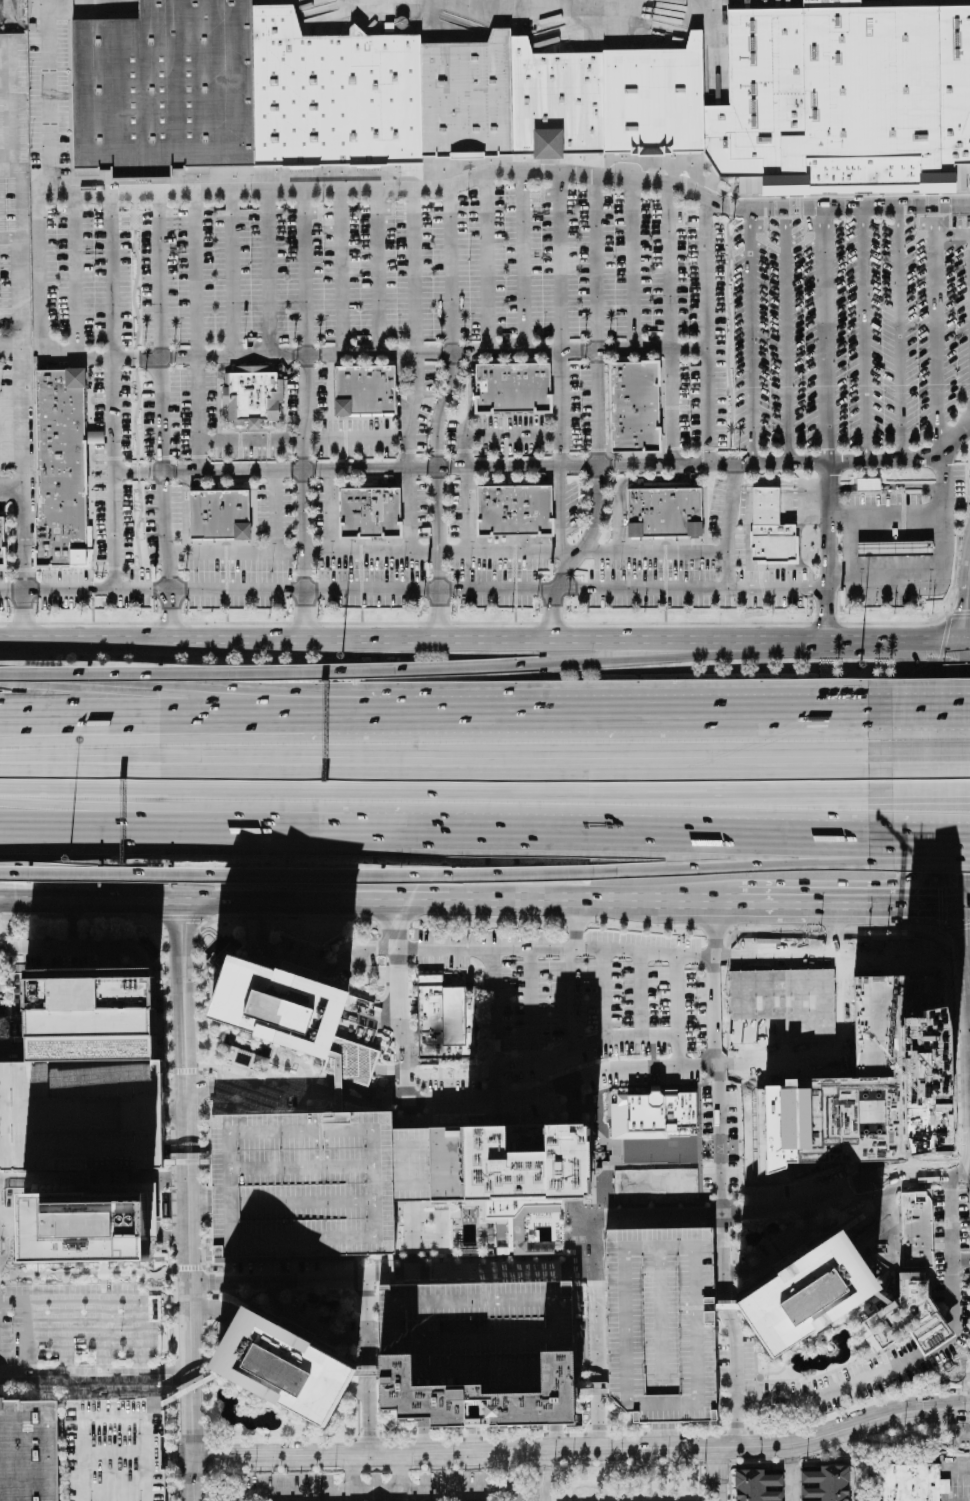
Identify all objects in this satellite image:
building: (166, 89)
road: (53, 93)
building: (335, 95)
building: (846, 95)
building: (471, 97)
building: (659, 101)
building: (560, 103)
road: (418, 186)
road: (20, 190)
road: (523, 262)
road: (559, 263)
road: (487, 265)
road: (598, 265)
road: (414, 269)
road: (342, 270)
road: (377, 270)
road: (266, 271)
road: (194, 272)
road: (231, 272)
parking lot: (89, 276)
parking lot: (446, 277)
parking lot: (848, 332)
road: (937, 333)
road: (707, 334)
road: (728, 337)
road: (827, 337)
road: (11, 346)
road: (387, 353)
road: (138, 387)
road: (472, 388)
road: (115, 389)
building: (513, 389)
building: (365, 391)
building: (252, 394)
road: (416, 395)
building: (635, 408)
parking lot: (179, 409)
road: (561, 409)
road: (671, 409)
road: (196, 415)
road: (438, 416)
road: (162, 417)
road: (303, 417)
parking lot: (534, 427)
road: (514, 434)
road: (371, 435)
road: (249, 440)
road: (947, 449)
building: (62, 469)
road: (518, 469)
parking lot: (99, 470)
road: (621, 485)
building: (868, 485)
road: (465, 487)
road: (11, 489)
road: (23, 497)
road: (598, 503)
road: (406, 511)
building: (515, 511)
road: (275, 512)
road: (328, 512)
building: (371, 513)
building: (665, 513)
road: (888, 514)
building: (220, 515)
parking lot: (161, 520)
road: (945, 525)
building: (770, 528)
building: (1, 543)
building: (895, 548)
gas station: (895, 548)
road: (369, 552)
road: (233, 553)
road: (507, 553)
road: (696, 554)
road: (832, 554)
parking lot: (498, 558)
parking lot: (251, 562)
parking lot: (369, 562)
road: (728, 572)
parking lot: (696, 574)
road: (465, 591)
parking lot: (93, 593)
road: (876, 643)
road: (391, 646)
road: (554, 662)
road: (186, 674)
road: (286, 698)
road: (930, 714)
road: (732, 716)
road: (286, 717)
road: (256, 734)
road: (446, 760)
road: (931, 761)
road: (918, 781)
road: (444, 790)
road: (929, 793)
road: (268, 815)
road: (446, 828)
road: (931, 830)
road: (930, 855)
road: (741, 866)
road: (296, 877)
road: (232, 885)
road: (561, 902)
road: (90, 903)
road: (322, 903)
road: (699, 905)
road: (805, 905)
road: (921, 907)
road: (182, 918)
road: (223, 918)
road: (263, 918)
road: (324, 918)
road: (395, 919)
road: (491, 919)
road: (403, 924)
road: (376, 925)
road: (69, 926)
road: (387, 926)
road: (580, 926)
road: (641, 929)
road: (676, 930)
road: (712, 931)
road: (832, 932)
road: (417, 934)
road: (379, 948)
road: (417, 948)
road: (554, 948)
road: (69, 949)
road: (247, 954)
road: (298, 955)
road: (731, 957)
road: (792, 957)
road: (311, 964)
road: (967, 965)
road: (359, 972)
road: (485, 972)
fountain: (448, 981)
parking lot: (578, 993)
road: (607, 994)
road: (369, 995)
road: (644, 995)
road: (197, 999)
road: (573, 999)
road: (170, 1002)
building: (279, 1004)
road: (531, 1006)
road: (713, 1010)
road: (375, 1013)
building: (91, 1016)
road: (384, 1018)
building: (446, 1020)
road: (493, 1025)
road: (677, 1028)
road: (604, 1039)
road: (389, 1050)
road: (403, 1053)
road: (514, 1068)
road: (390, 1069)
road: (391, 1069)
building: (359, 1070)
road: (186, 1071)
road: (338, 1080)
building: (338, 1081)
building: (870, 1085)
road: (259, 1087)
road: (371, 1087)
road: (200, 1088)
road: (544, 1093)
road: (391, 1096)
road: (959, 1098)
road: (295, 1109)
road: (226, 1110)
road: (396, 1113)
building: (81, 1114)
building: (651, 1114)
road: (172, 1115)
road: (176, 1115)
road: (201, 1132)
road: (208, 1134)
road: (718, 1139)
road: (172, 1143)
road: (186, 1144)
road: (878, 1159)
road: (939, 1159)
road: (954, 1159)
road: (928, 1162)
road: (187, 1164)
building: (525, 1164)
road: (941, 1166)
road: (908, 1168)
road: (964, 1173)
road: (925, 1176)
road: (202, 1177)
road: (173, 1178)
road: (93, 1180)
road: (407, 1183)
building: (301, 1184)
parking lot: (301, 1184)
road: (203, 1200)
road: (199, 1201)
road: (843, 1204)
road: (173, 1207)
road: (697, 1214)
road: (739, 1214)
road: (809, 1218)
road: (741, 1226)
building: (80, 1227)
road: (753, 1227)
fountain: (774, 1229)
building: (917, 1230)
road: (766, 1233)
road: (174, 1235)
road: (174, 1235)
fountain: (751, 1237)
fountain: (757, 1241)
road: (204, 1242)
fountain: (750, 1242)
road: (208, 1246)
road: (778, 1251)
road: (783, 1253)
road: (801, 1253)
road: (722, 1257)
road: (960, 1260)
road: (215, 1266)
road: (189, 1267)
road: (911, 1270)
road: (430, 1271)
road: (734, 1272)
road: (378, 1273)
road: (294, 1275)
road: (355, 1278)
road: (279, 1279)
road: (205, 1280)
road: (886, 1281)
road: (932, 1285)
road: (378, 1288)
road: (734, 1289)
road: (295, 1290)
road: (276, 1291)
road: (322, 1292)
road: (255, 1294)
road: (368, 1294)
road: (205, 1295)
building: (806, 1295)
building: (882, 1298)
road: (882, 1298)
road: (242, 1300)
road: (320, 1301)
road: (106, 1302)
road: (174, 1302)
road: (872, 1305)
building: (725, 1306)
fountain: (335, 1307)
road: (726, 1307)
road: (213, 1309)
road: (205, 1310)
road: (856, 1310)
road: (347, 1312)
road: (359, 1312)
road: (311, 1317)
building: (910, 1317)
road: (846, 1318)
parking lot: (662, 1323)
road: (309, 1324)
road: (744, 1328)
building: (484, 1333)
parking lot: (484, 1333)
road: (814, 1337)
road: (63, 1340)
road: (100, 1340)
road: (360, 1340)
road: (27, 1341)
road: (857, 1345)
fountain: (820, 1351)
road: (338, 1353)
road: (361, 1360)
road: (756, 1366)
building: (280, 1367)
fountain: (952, 1369)
road: (836, 1370)
road: (771, 1373)
road: (176, 1375)
building: (366, 1375)
road: (366, 1375)
road: (96, 1378)
road: (735, 1378)
road: (360, 1379)
building: (192, 1387)
road: (192, 1388)
road: (76, 1389)
road: (359, 1390)
building: (595, 1390)
road: (595, 1390)
road: (359, 1391)
road: (831, 1391)
road: (753, 1392)
road: (245, 1393)
fountain: (223, 1395)
building: (487, 1399)
road: (749, 1401)
fountain: (240, 1402)
road: (925, 1407)
road: (847, 1412)
road: (176, 1416)
road: (370, 1417)
fountain: (271, 1420)
road: (593, 1422)
road: (631, 1425)
road: (380, 1427)
road: (709, 1428)
road: (663, 1433)
road: (703, 1433)
road: (738, 1433)
road: (578, 1434)
road: (600, 1434)
road: (629, 1434)
road: (558, 1435)
road: (447, 1436)
road: (510, 1436)
road: (665, 1436)
road: (452, 1439)
road: (474, 1439)
road: (557, 1439)
road: (193, 1440)
road: (368, 1440)
road: (426, 1440)
road: (427, 1440)
road: (242, 1442)
road: (473, 1442)
road: (193, 1447)
road: (539, 1449)
road: (77, 1450)
building: (115, 1450)
parking lot: (115, 1450)
building: (29, 1451)
road: (177, 1456)
road: (209, 1457)
road: (135, 1460)
road: (956, 1468)
road: (512, 1470)
road: (261, 1471)
road: (717, 1473)
road: (789, 1473)
road: (400, 1474)
road: (542, 1474)
road: (351, 1475)
road: (193, 1476)
building: (913, 1483)
building: (827, 1484)
road: (178, 1485)
building: (757, 1486)
road: (477, 1490)
road: (377, 1493)
road: (278, 1495)

